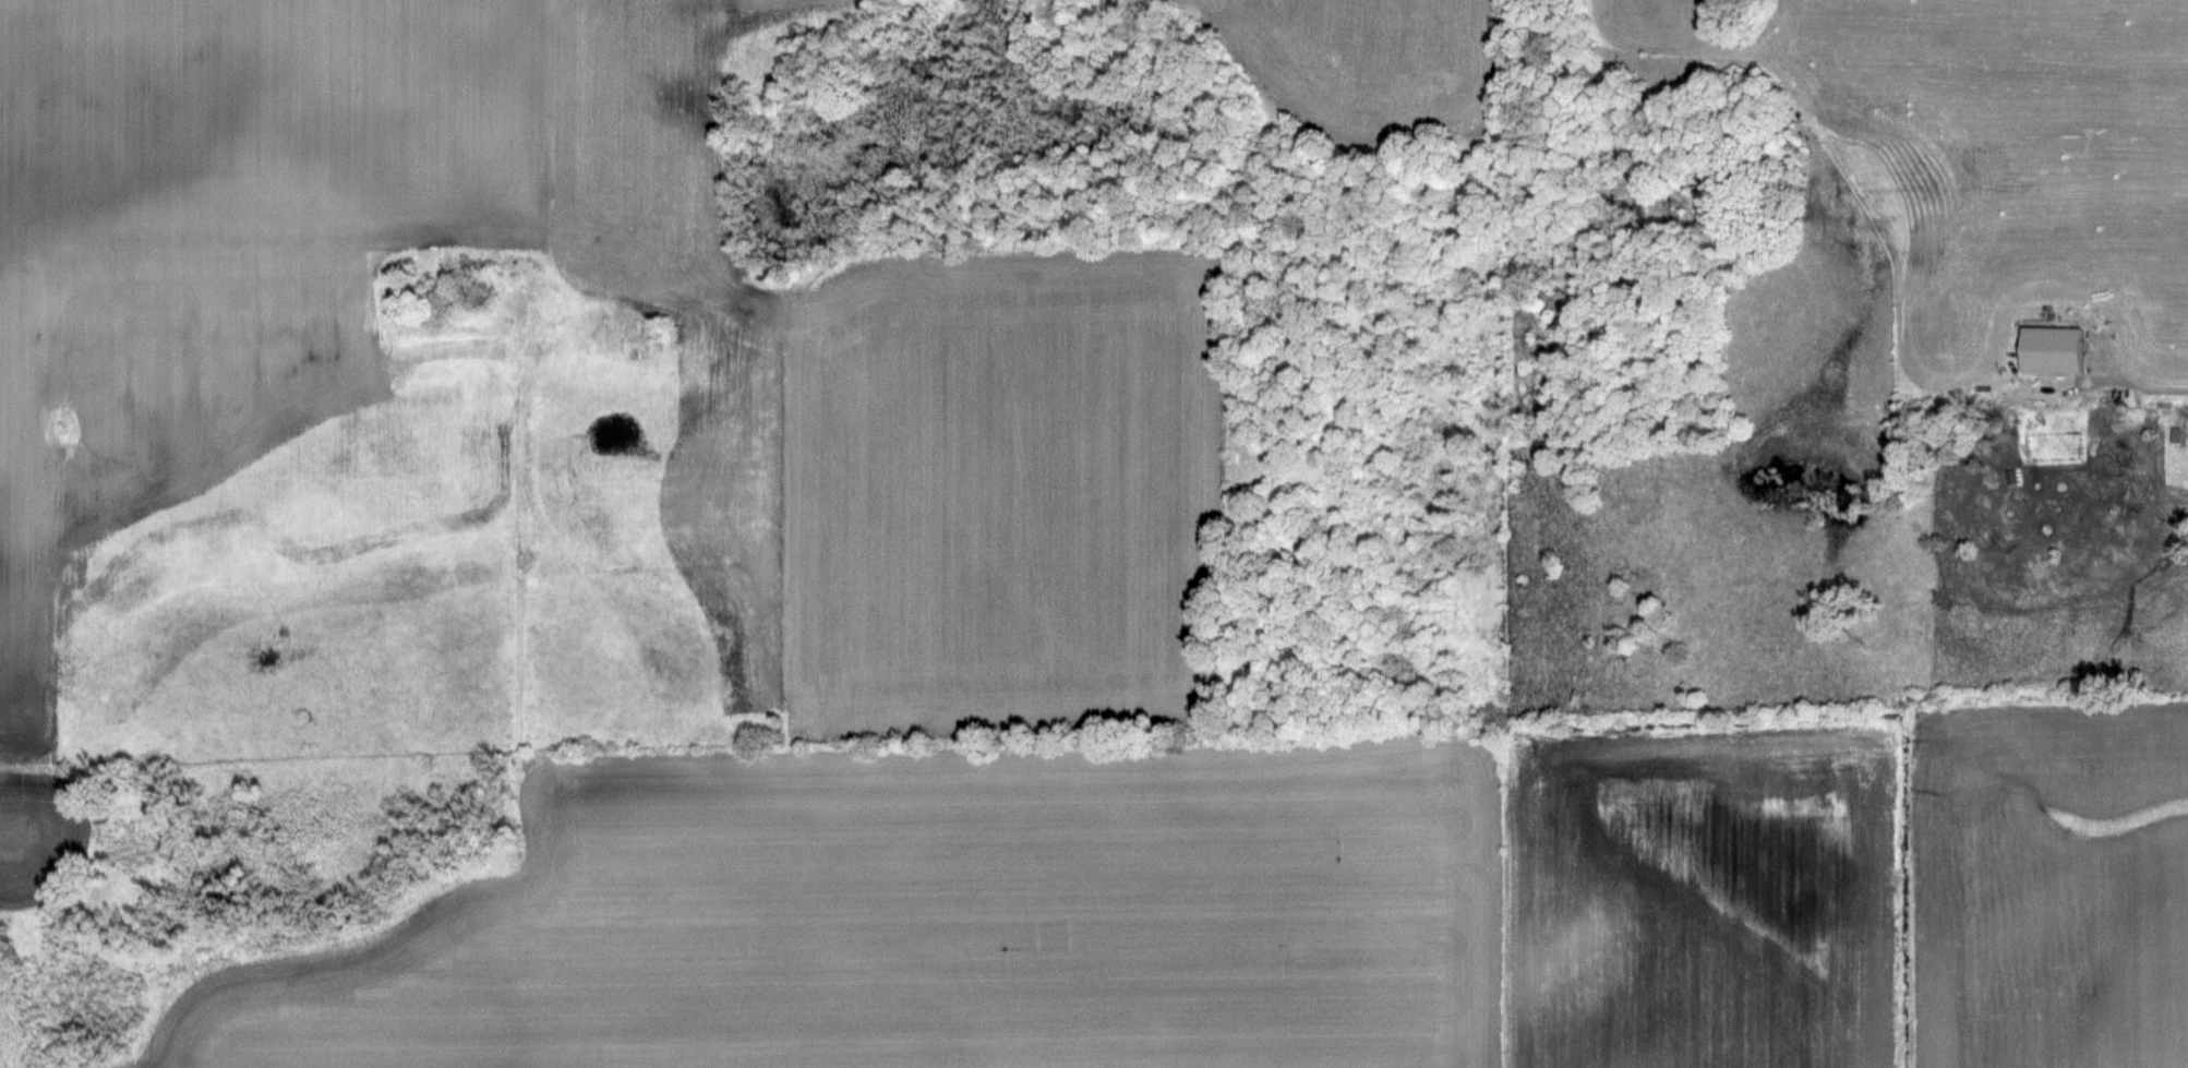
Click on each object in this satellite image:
building: (2174, 434)

